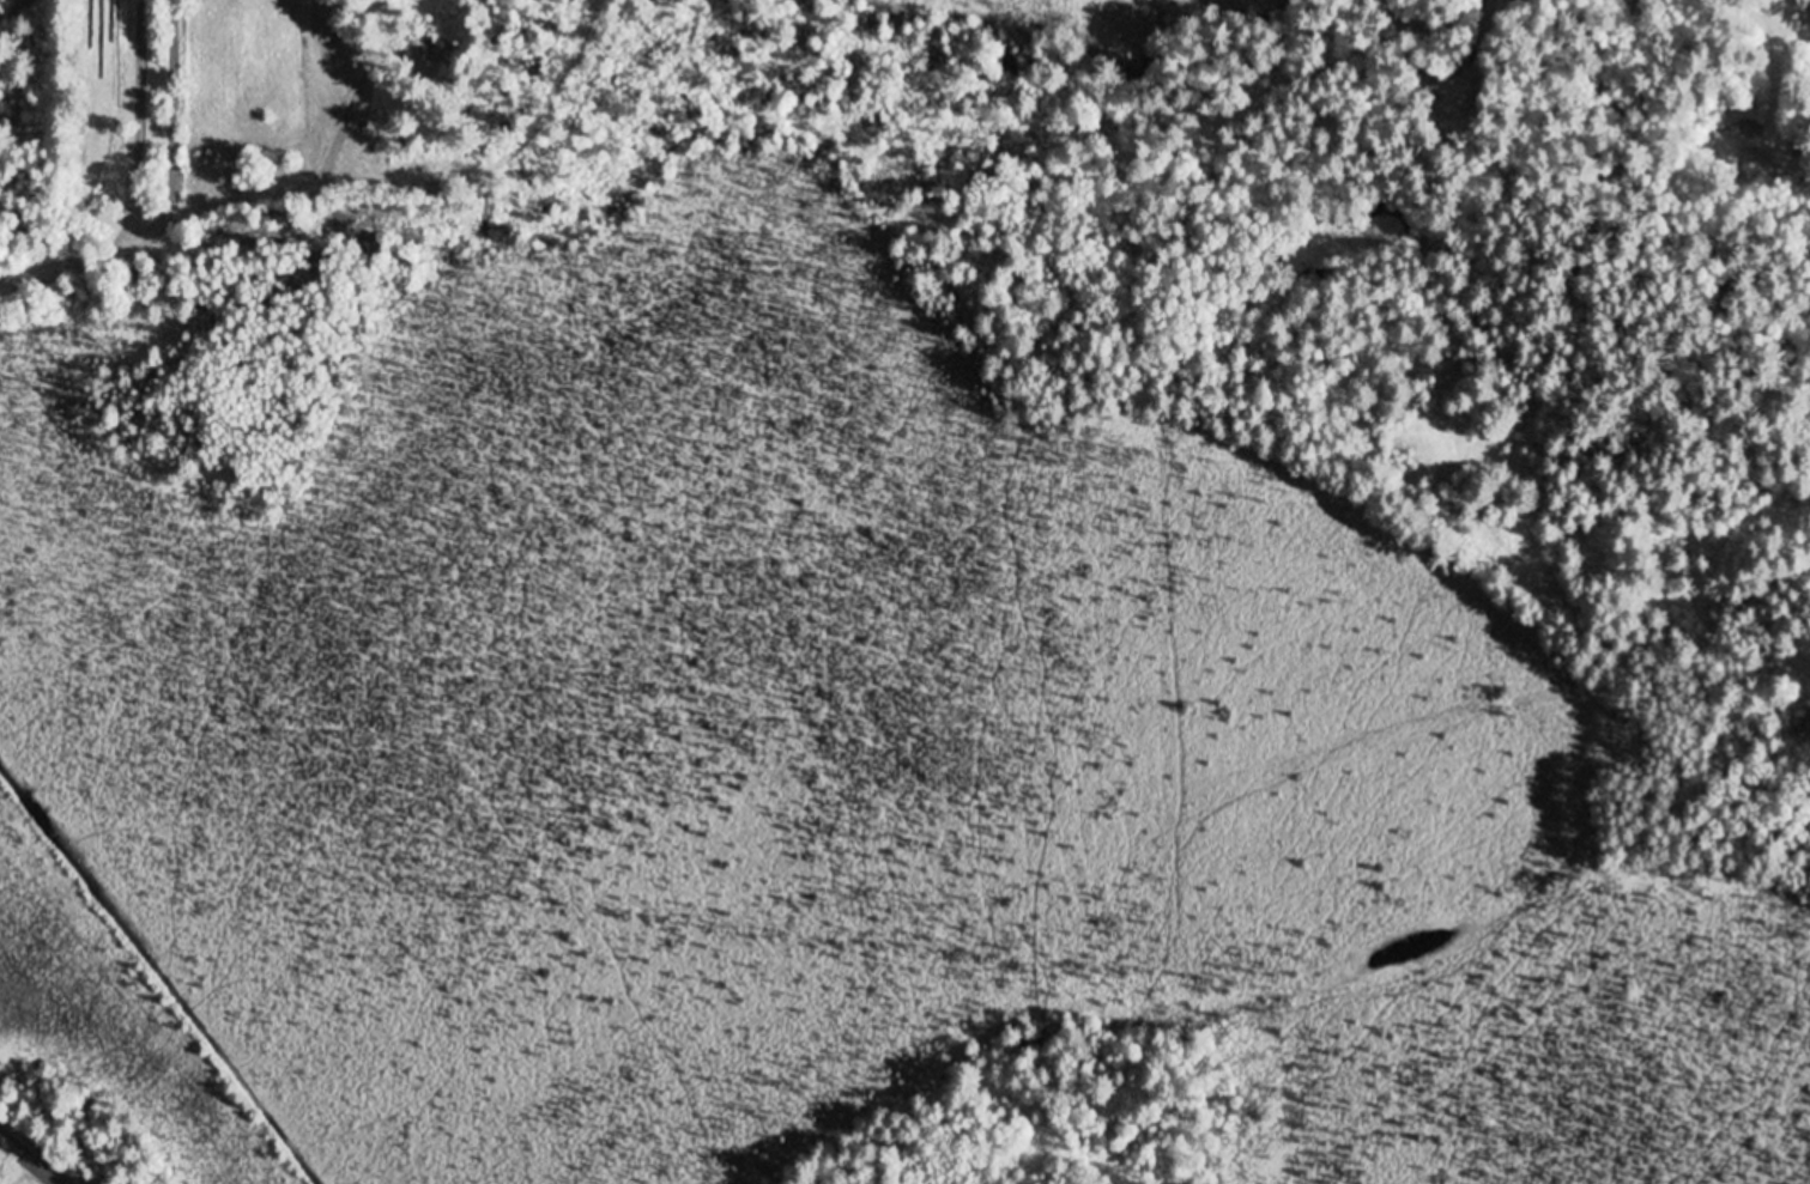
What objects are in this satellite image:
building: (1804, 4)
road: (35, 1153)

